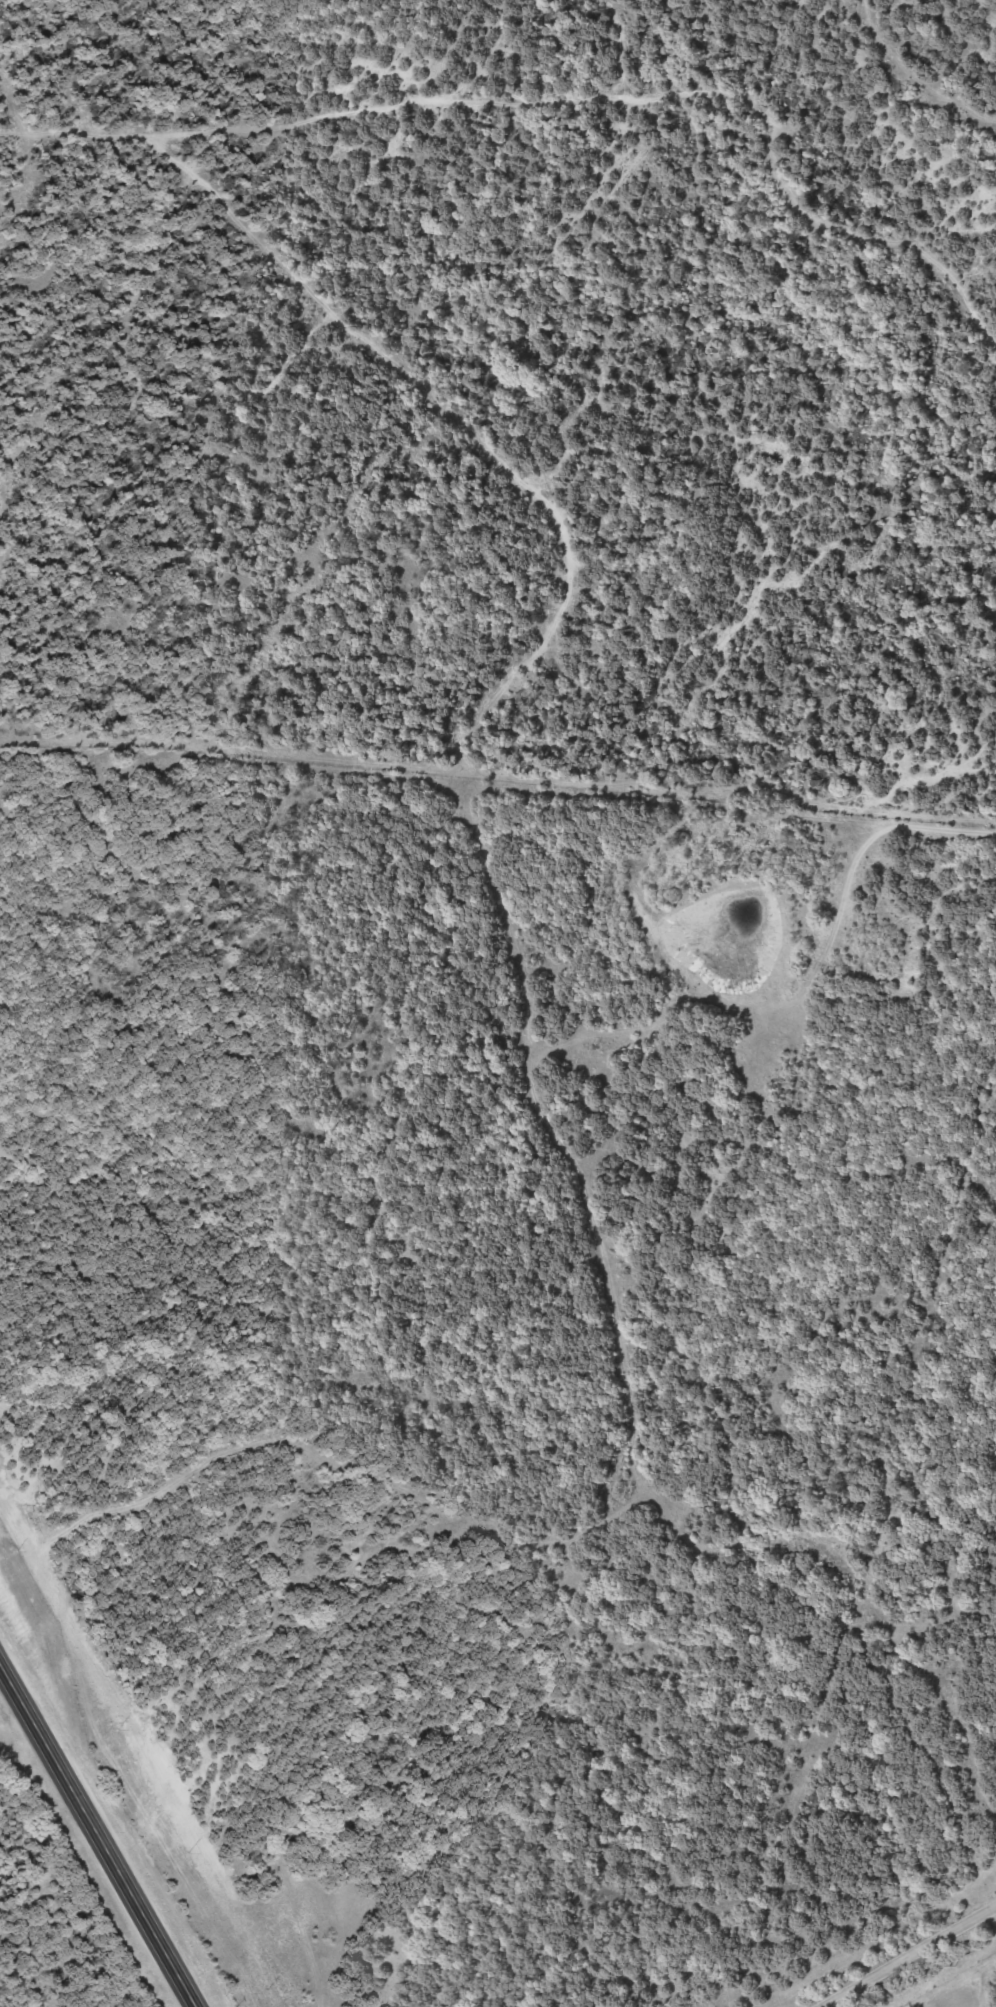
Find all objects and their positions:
road: (100, 1830)
road: (903, 1953)

